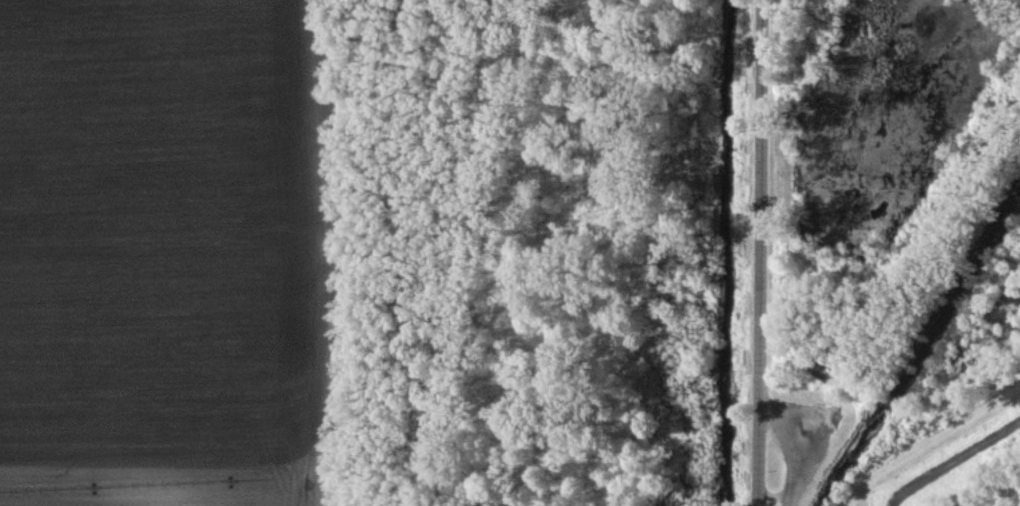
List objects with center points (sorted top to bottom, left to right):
road: (764, 253)

